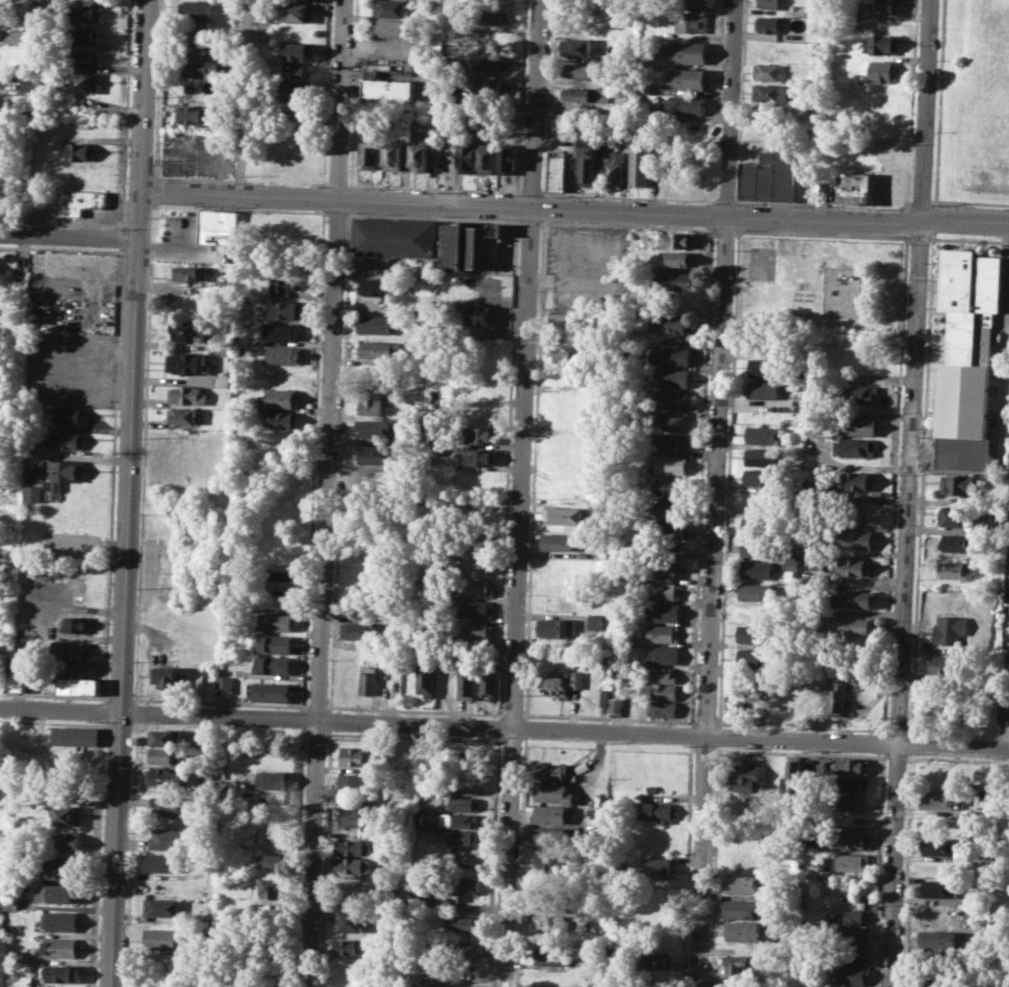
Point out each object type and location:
building: (303, 0)
building: (688, 3)
building: (769, 3)
building: (883, 5)
building: (391, 8)
building: (197, 9)
building: (84, 11)
building: (299, 12)
building: (261, 14)
building: (493, 15)
building: (691, 22)
building: (767, 23)
building: (882, 24)
building: (389, 27)
building: (194, 28)
building: (1, 30)
building: (813, 35)
building: (83, 36)
building: (492, 40)
building: (882, 45)
building: (194, 47)
building: (576, 47)
building: (390, 48)
building: (767, 51)
building: (299, 52)
building: (687, 52)
building: (82, 58)
building: (491, 63)
building: (192, 67)
building: (574, 70)
building: (297, 71)
building: (883, 71)
building: (767, 72)
building: (3, 75)
building: (686, 79)
building: (81, 82)
building: (26, 85)
building: (642, 87)
building: (489, 88)
building: (389, 89)
building: (296, 91)
building: (769, 92)
building: (584, 94)
road: (243, 97)
road: (937, 100)
building: (683, 105)
building: (196, 114)
building: (879, 122)
building: (568, 123)
building: (79, 151)
building: (370, 153)
parking lot: (199, 154)
building: (393, 154)
building: (418, 154)
building: (466, 156)
building: (487, 160)
building: (507, 160)
building: (586, 164)
building: (639, 164)
building: (613, 167)
building: (785, 170)
building: (557, 171)
building: (759, 177)
road: (545, 182)
building: (855, 187)
building: (890, 188)
road: (906, 189)
building: (827, 192)
road: (908, 199)
road: (920, 199)
building: (79, 200)
road: (724, 200)
road: (931, 200)
road: (969, 201)
road: (575, 208)
road: (906, 209)
road: (932, 218)
road: (905, 222)
building: (179, 224)
building: (221, 232)
road: (69, 235)
building: (393, 236)
building: (677, 240)
building: (471, 246)
building: (680, 259)
park: (762, 263)
building: (190, 273)
building: (676, 280)
building: (284, 285)
building: (376, 286)
building: (423, 307)
building: (287, 309)
building: (482, 316)
building: (568, 316)
building: (376, 323)
building: (673, 323)
building: (188, 330)
building: (282, 331)
building: (967, 339)
building: (767, 345)
building: (223, 346)
building: (378, 349)
building: (568, 350)
building: (284, 354)
building: (865, 354)
building: (669, 355)
building: (187, 363)
building: (766, 366)
building: (673, 377)
building: (764, 390)
building: (861, 394)
building: (187, 395)
building: (281, 398)
building: (672, 400)
building: (369, 402)
building: (483, 413)
building: (69, 415)
building: (181, 415)
building: (280, 419)
building: (674, 421)
building: (861, 425)
building: (373, 429)
building: (482, 434)
building: (764, 434)
building: (67, 440)
building: (284, 441)
building: (672, 443)
building: (858, 447)
building: (373, 454)
building: (960, 454)
building: (481, 457)
building: (763, 457)
building: (670, 464)
building: (61, 473)
building: (762, 478)
building: (861, 480)
road: (921, 483)
road: (895, 484)
building: (958, 484)
building: (668, 487)
building: (29, 493)
road: (128, 493)
road: (326, 493)
road: (521, 493)
road: (715, 493)
road: (909, 493)
building: (761, 502)
building: (667, 508)
building: (564, 514)
building: (953, 517)
building: (761, 524)
building: (666, 528)
building: (488, 536)
building: (855, 539)
building: (559, 542)
building: (956, 543)
building: (759, 546)
building: (665, 548)
building: (857, 567)
building: (664, 569)
building: (759, 570)
building: (955, 570)
building: (278, 578)
building: (476, 587)
building: (429, 588)
building: (664, 591)
building: (757, 592)
building: (855, 599)
building: (475, 609)
building: (664, 612)
building: (756, 613)
building: (618, 618)
building: (273, 621)
building: (596, 621)
building: (75, 624)
building: (855, 626)
building: (557, 627)
building: (356, 630)
building: (474, 630)
building: (950, 630)
building: (661, 632)
building: (756, 633)
building: (624, 639)
building: (274, 643)
building: (70, 649)
building: (664, 654)
building: (755, 655)
building: (271, 665)
building: (945, 667)
building: (661, 675)
building: (166, 677)
building: (424, 679)
building: (367, 680)
building: (18, 681)
building: (466, 682)
building: (488, 682)
building: (563, 683)
building: (223, 684)
building: (78, 685)
building: (270, 691)
building: (660, 691)
building: (812, 697)
building: (839, 697)
building: (762, 698)
building: (603, 699)
building: (616, 700)
building: (736, 700)
building: (1004, 707)
building: (662, 708)
road: (504, 727)
building: (76, 735)
building: (165, 737)
road: (885, 742)
road: (911, 744)
building: (165, 755)
building: (355, 755)
building: (821, 764)
building: (855, 765)
building: (580, 767)
building: (551, 771)
building: (795, 773)
building: (164, 776)
building: (747, 776)
building: (272, 779)
building: (357, 780)
building: (853, 784)
building: (464, 786)
building: (551, 793)
building: (939, 798)
building: (854, 802)
building: (461, 803)
building: (170, 807)
building: (657, 811)
building: (550, 814)
building: (66, 815)
building: (355, 817)
building: (458, 820)
building: (550, 836)
building: (460, 837)
building: (169, 838)
building: (856, 840)
building: (64, 841)
building: (942, 845)
building: (355, 847)
road: (216, 851)
building: (272, 859)
building: (549, 860)
building: (162, 861)
building: (854, 862)
building: (351, 865)
building: (656, 867)
building: (60, 869)
road: (880, 869)
road: (907, 870)
building: (741, 885)
building: (272, 887)
building: (420, 887)
building: (464, 888)
building: (941, 888)
building: (55, 893)
building: (0, 899)
building: (162, 907)
building: (740, 908)
building: (856, 917)
building: (61, 920)
building: (350, 921)
building: (460, 923)
building: (545, 923)
building: (743, 931)
building: (854, 935)
building: (160, 938)
building: (939, 941)
building: (346, 945)
building: (60, 948)
building: (460, 952)
building: (548, 955)
building: (855, 955)
building: (21, 956)
building: (657, 960)
building: (739, 965)
building: (61, 972)
building: (852, 975)
building: (550, 977)
building: (25, 980)
building: (929, 983)
building: (264, 985)
building: (453, 986)
building: (841, 986)

